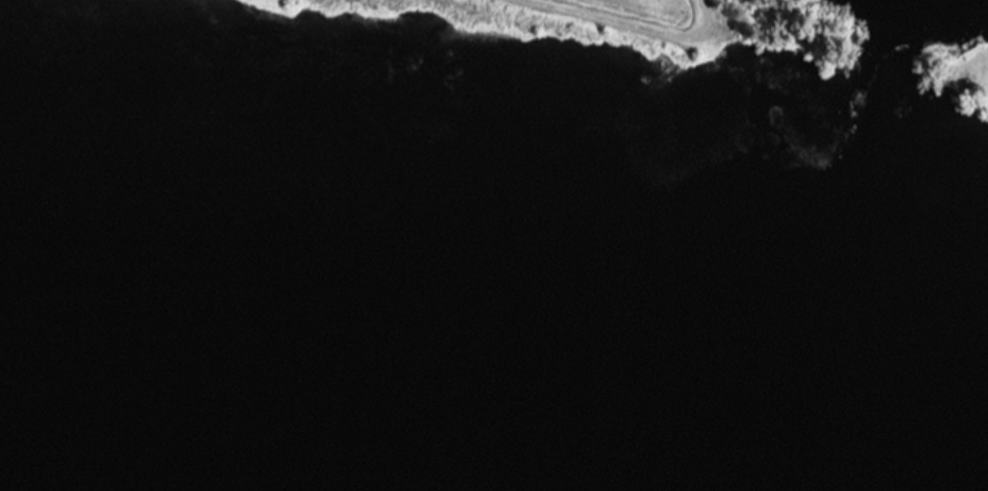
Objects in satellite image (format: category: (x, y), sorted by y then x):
crop: (439, 39)
crop: (975, 127)

